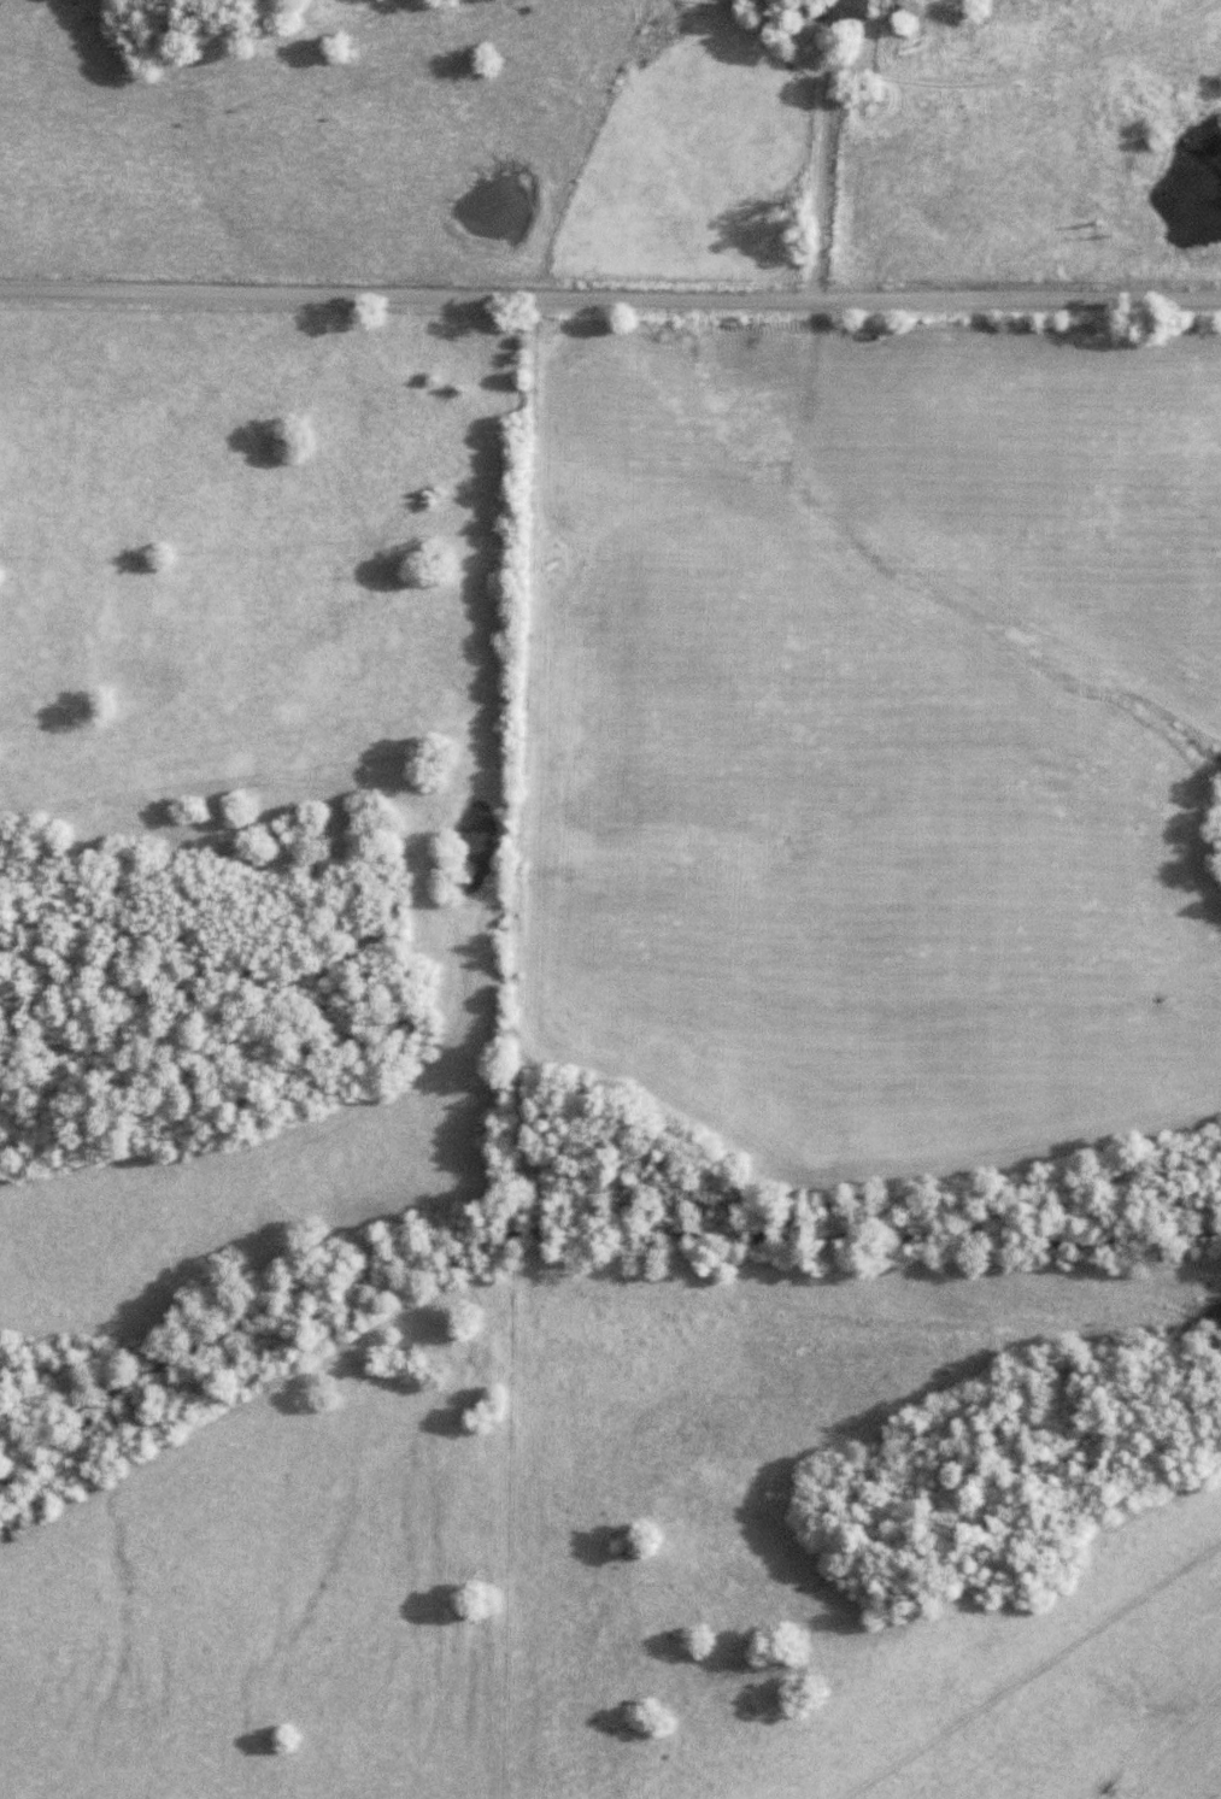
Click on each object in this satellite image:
building: (845, 10)
road: (610, 300)

